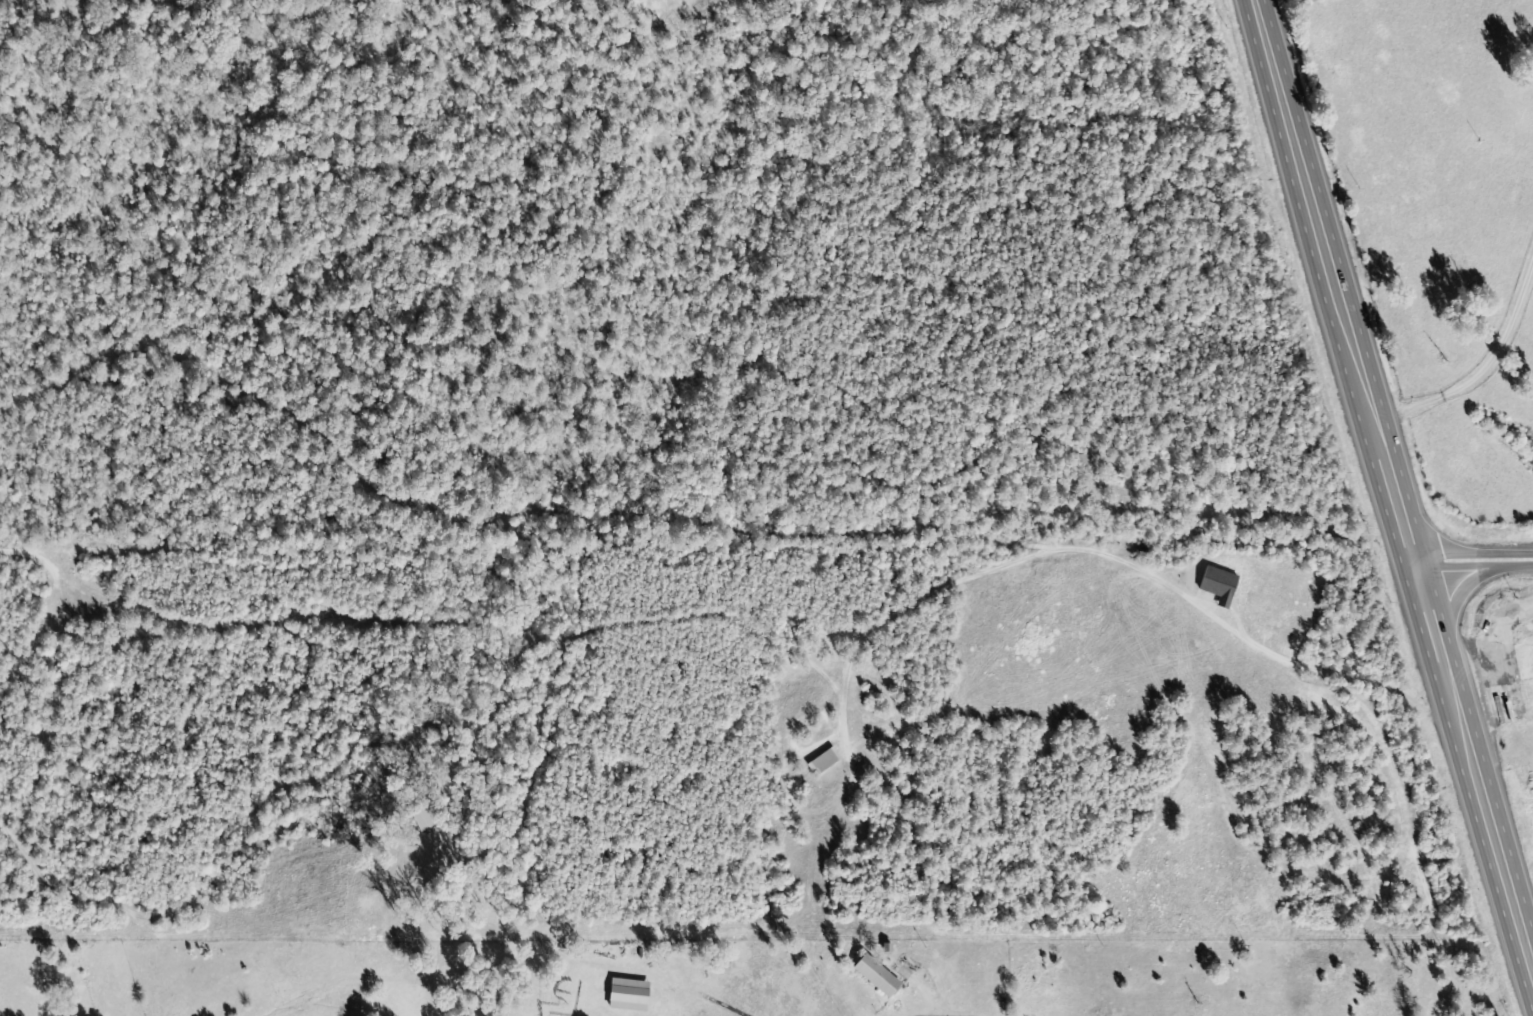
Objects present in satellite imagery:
road: (1316, 212)
road: (1468, 358)
road: (1393, 493)
road: (1472, 561)
road: (1456, 600)
road: (736, 619)
road: (1430, 627)
building: (1524, 661)
building: (821, 761)
road: (1491, 824)
building: (872, 975)
building: (625, 994)

